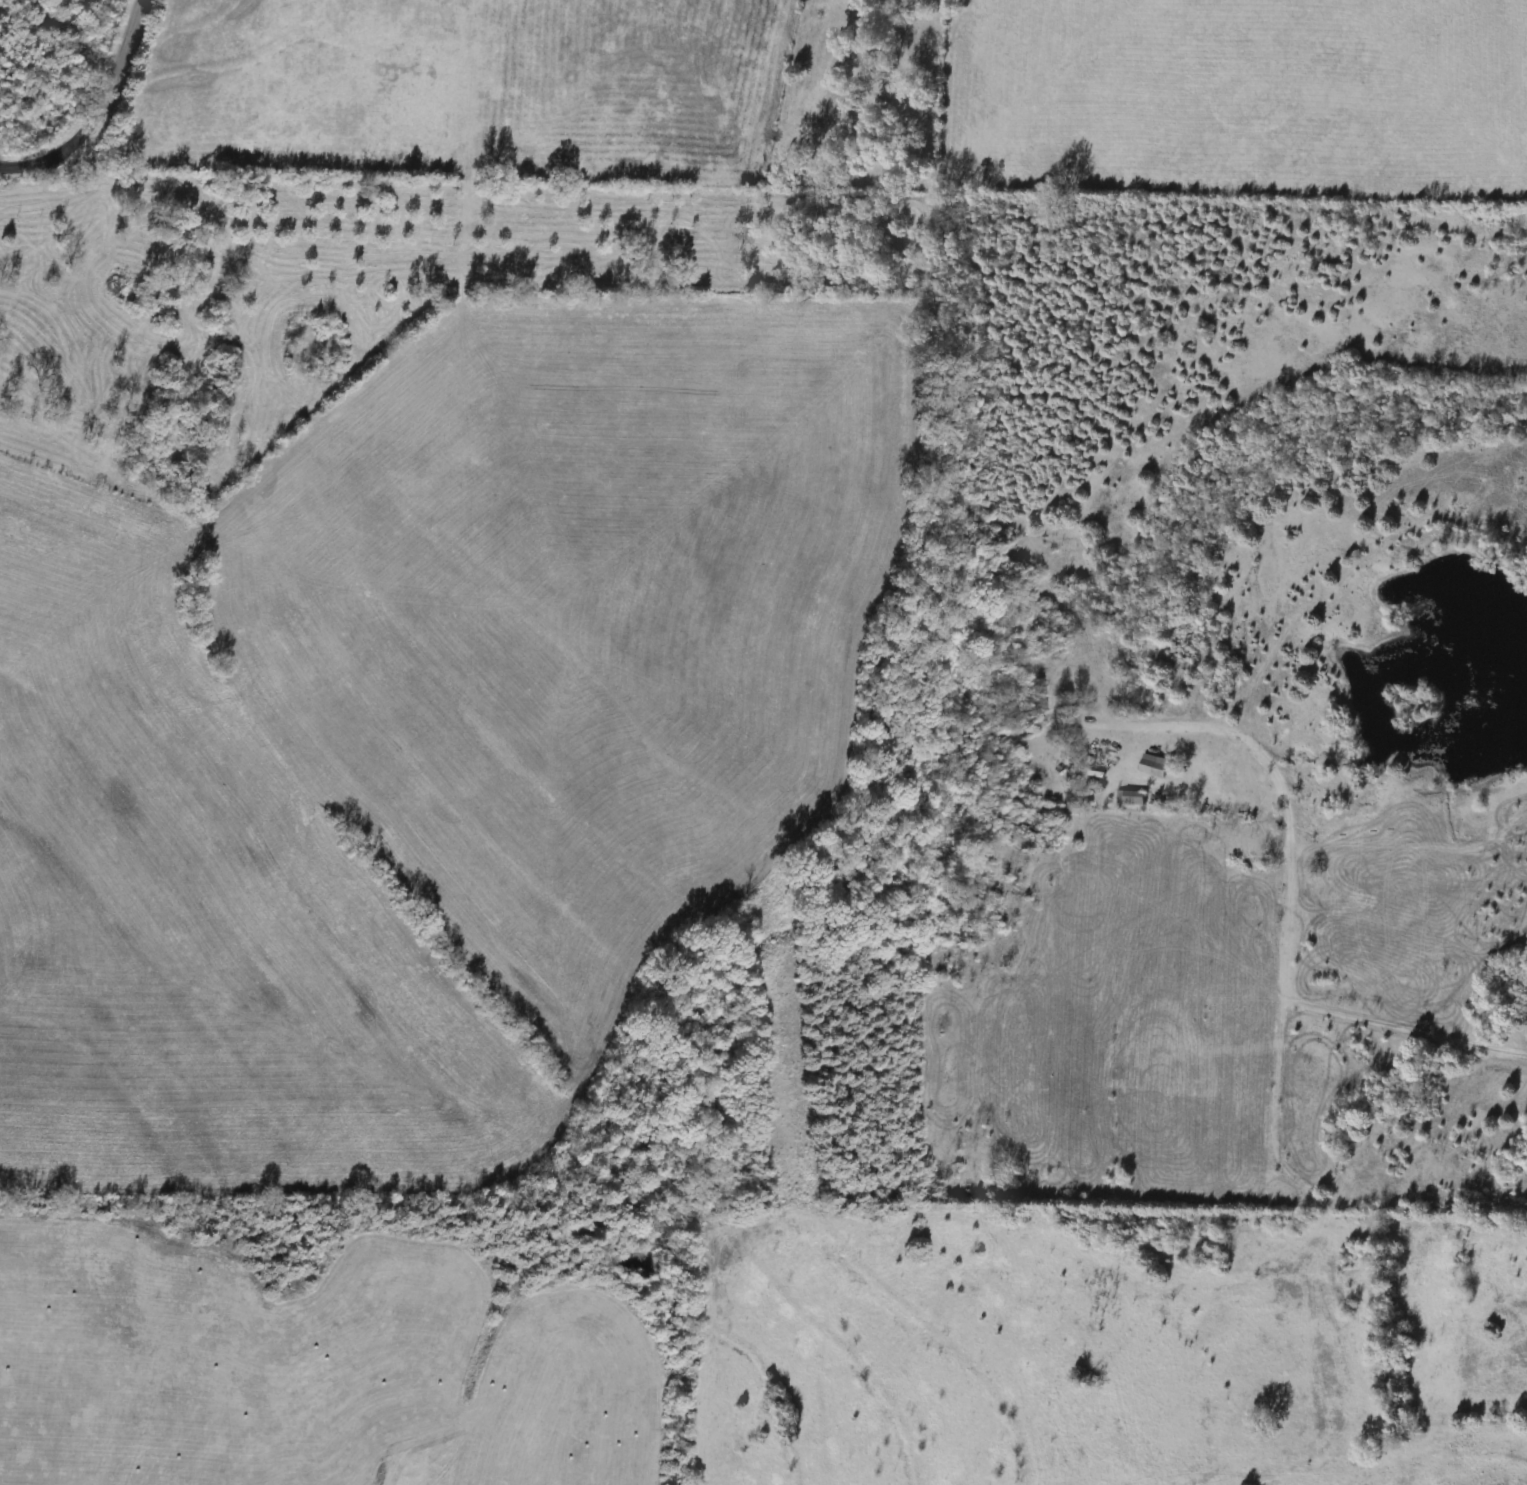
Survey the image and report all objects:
road: (132, 27)
road: (82, 136)
building: (1151, 766)

